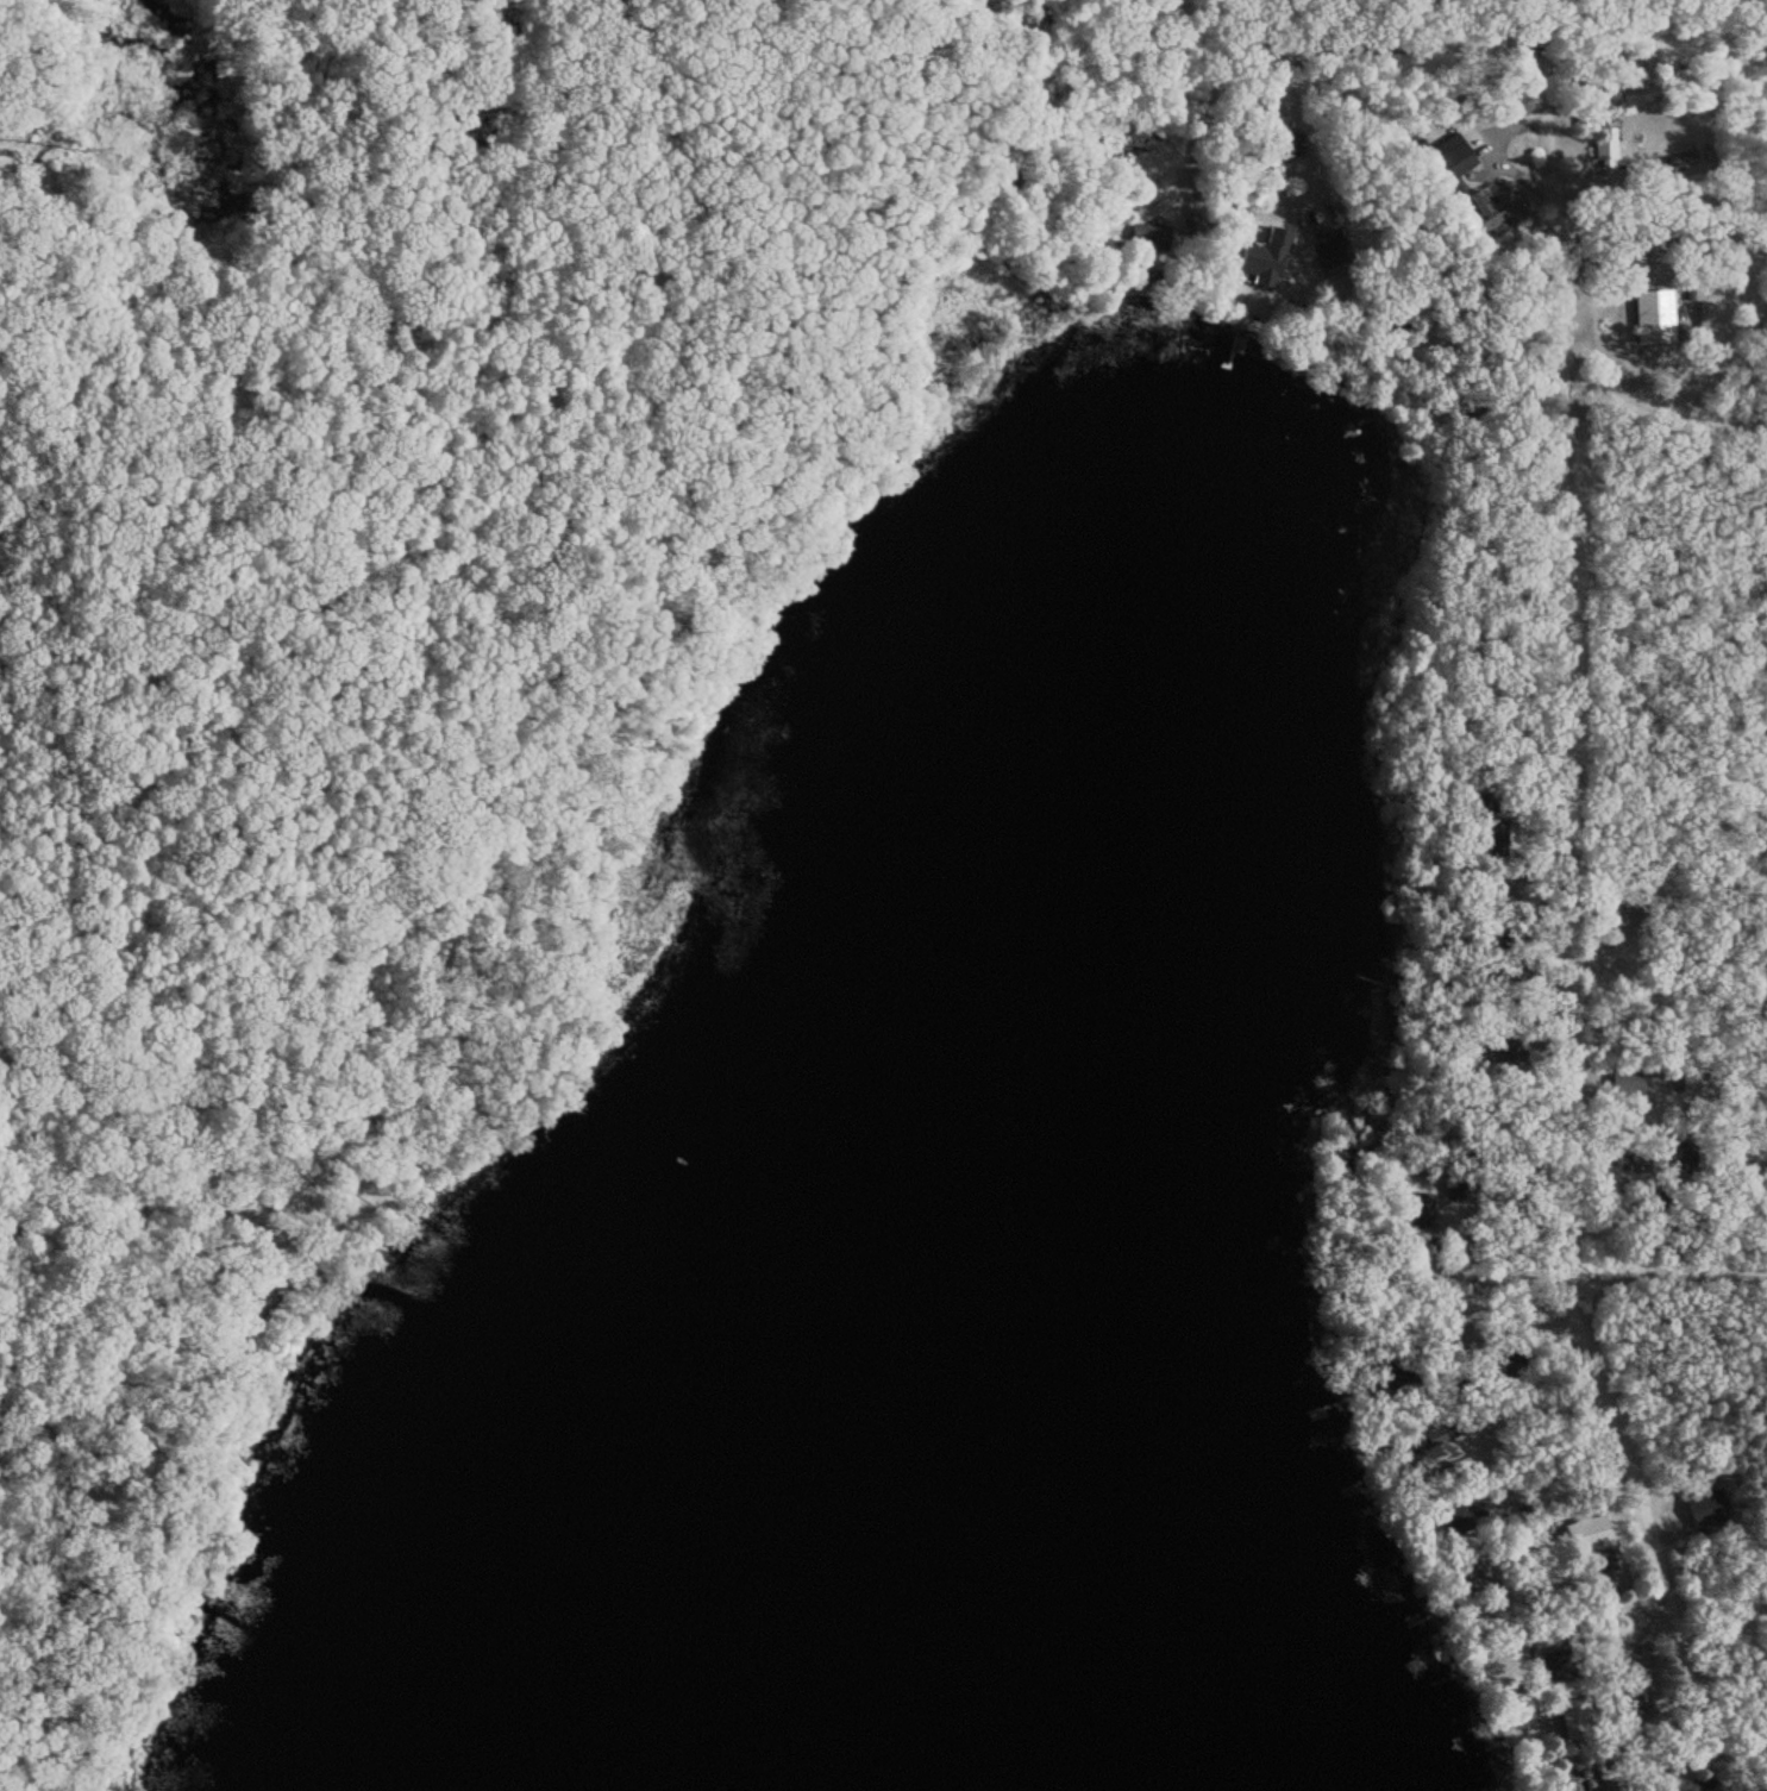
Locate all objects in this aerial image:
road: (1416, 2)
road: (1209, 48)
road: (1271, 94)
building: (1604, 140)
building: (1678, 161)
road: (1655, 199)
building: (1189, 225)
building: (1327, 249)
building: (1654, 314)
building: (1704, 317)
road: (1372, 318)
road: (1659, 599)
road: (1553, 908)
building: (1688, 1082)
road: (1660, 1085)
building: (1677, 1156)
road: (19, 1214)
road: (1658, 1234)
road: (253, 1307)
building: (1705, 1508)
road: (54, 1524)
building: (1572, 1718)
building: (1569, 1781)

